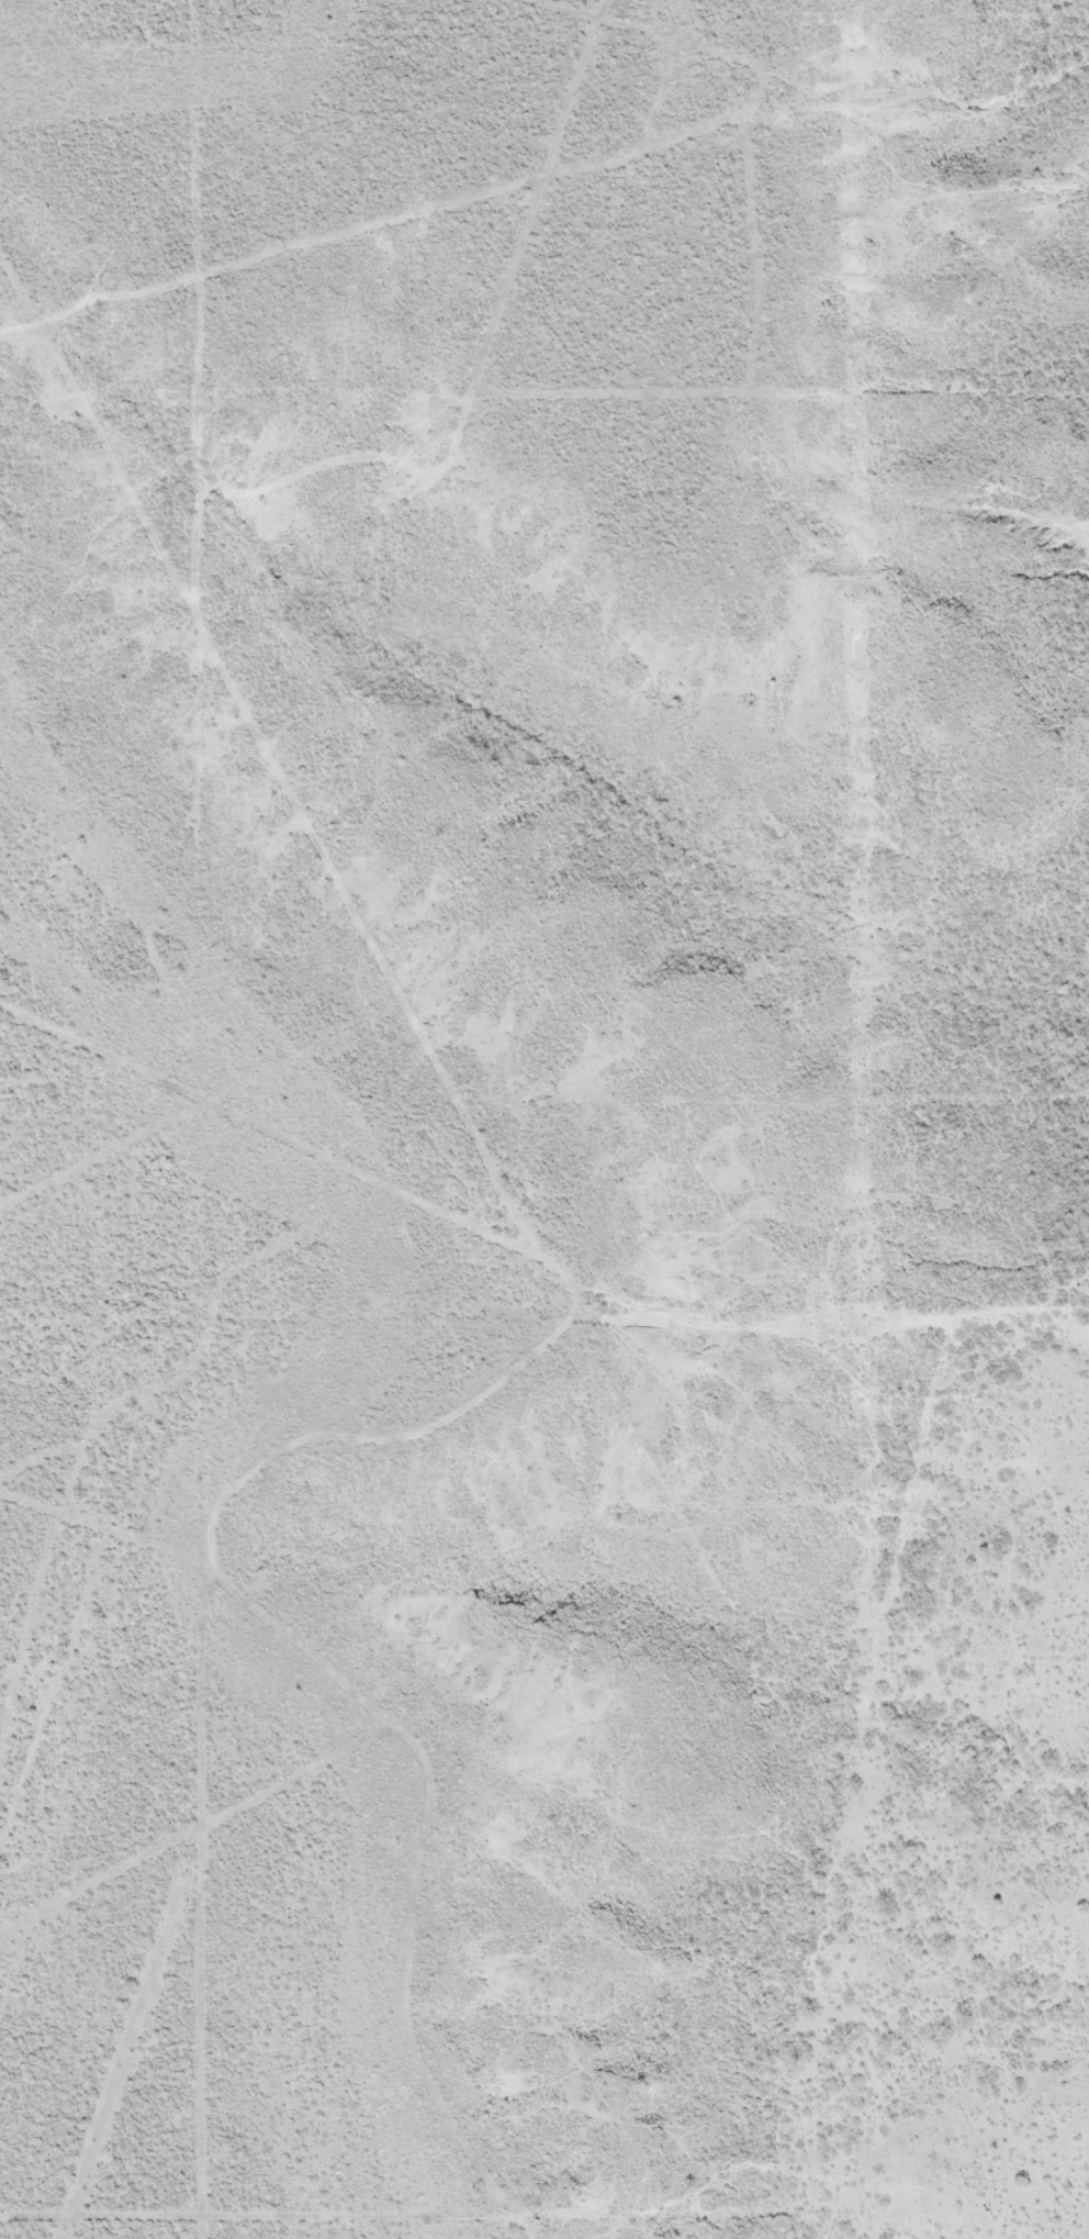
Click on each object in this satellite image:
road: (254, 1436)

